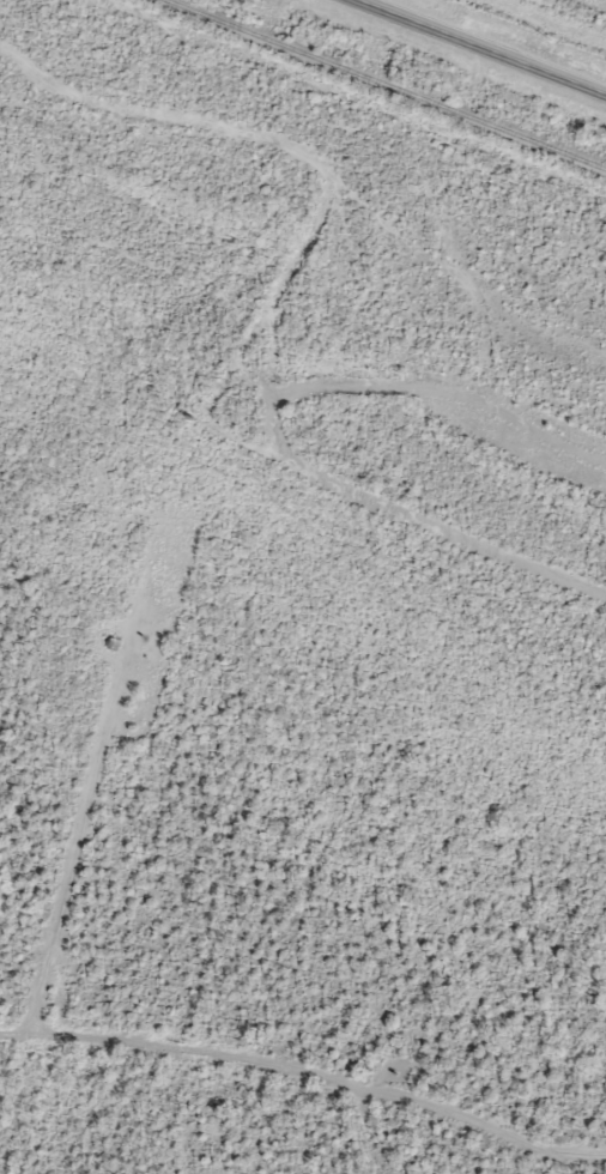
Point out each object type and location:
road: (486, 47)
railway: (384, 84)

